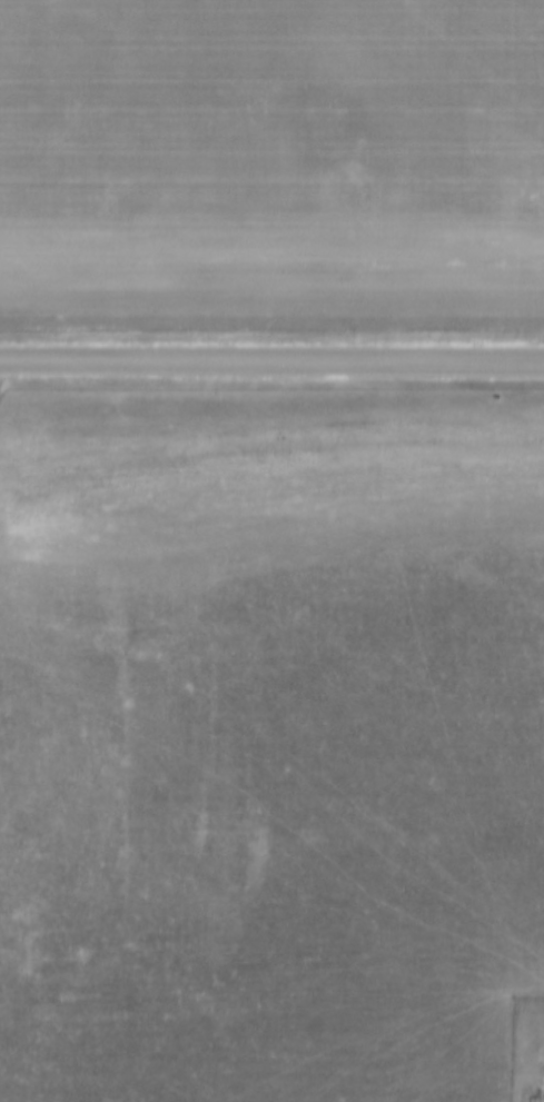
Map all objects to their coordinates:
road: (271, 363)

